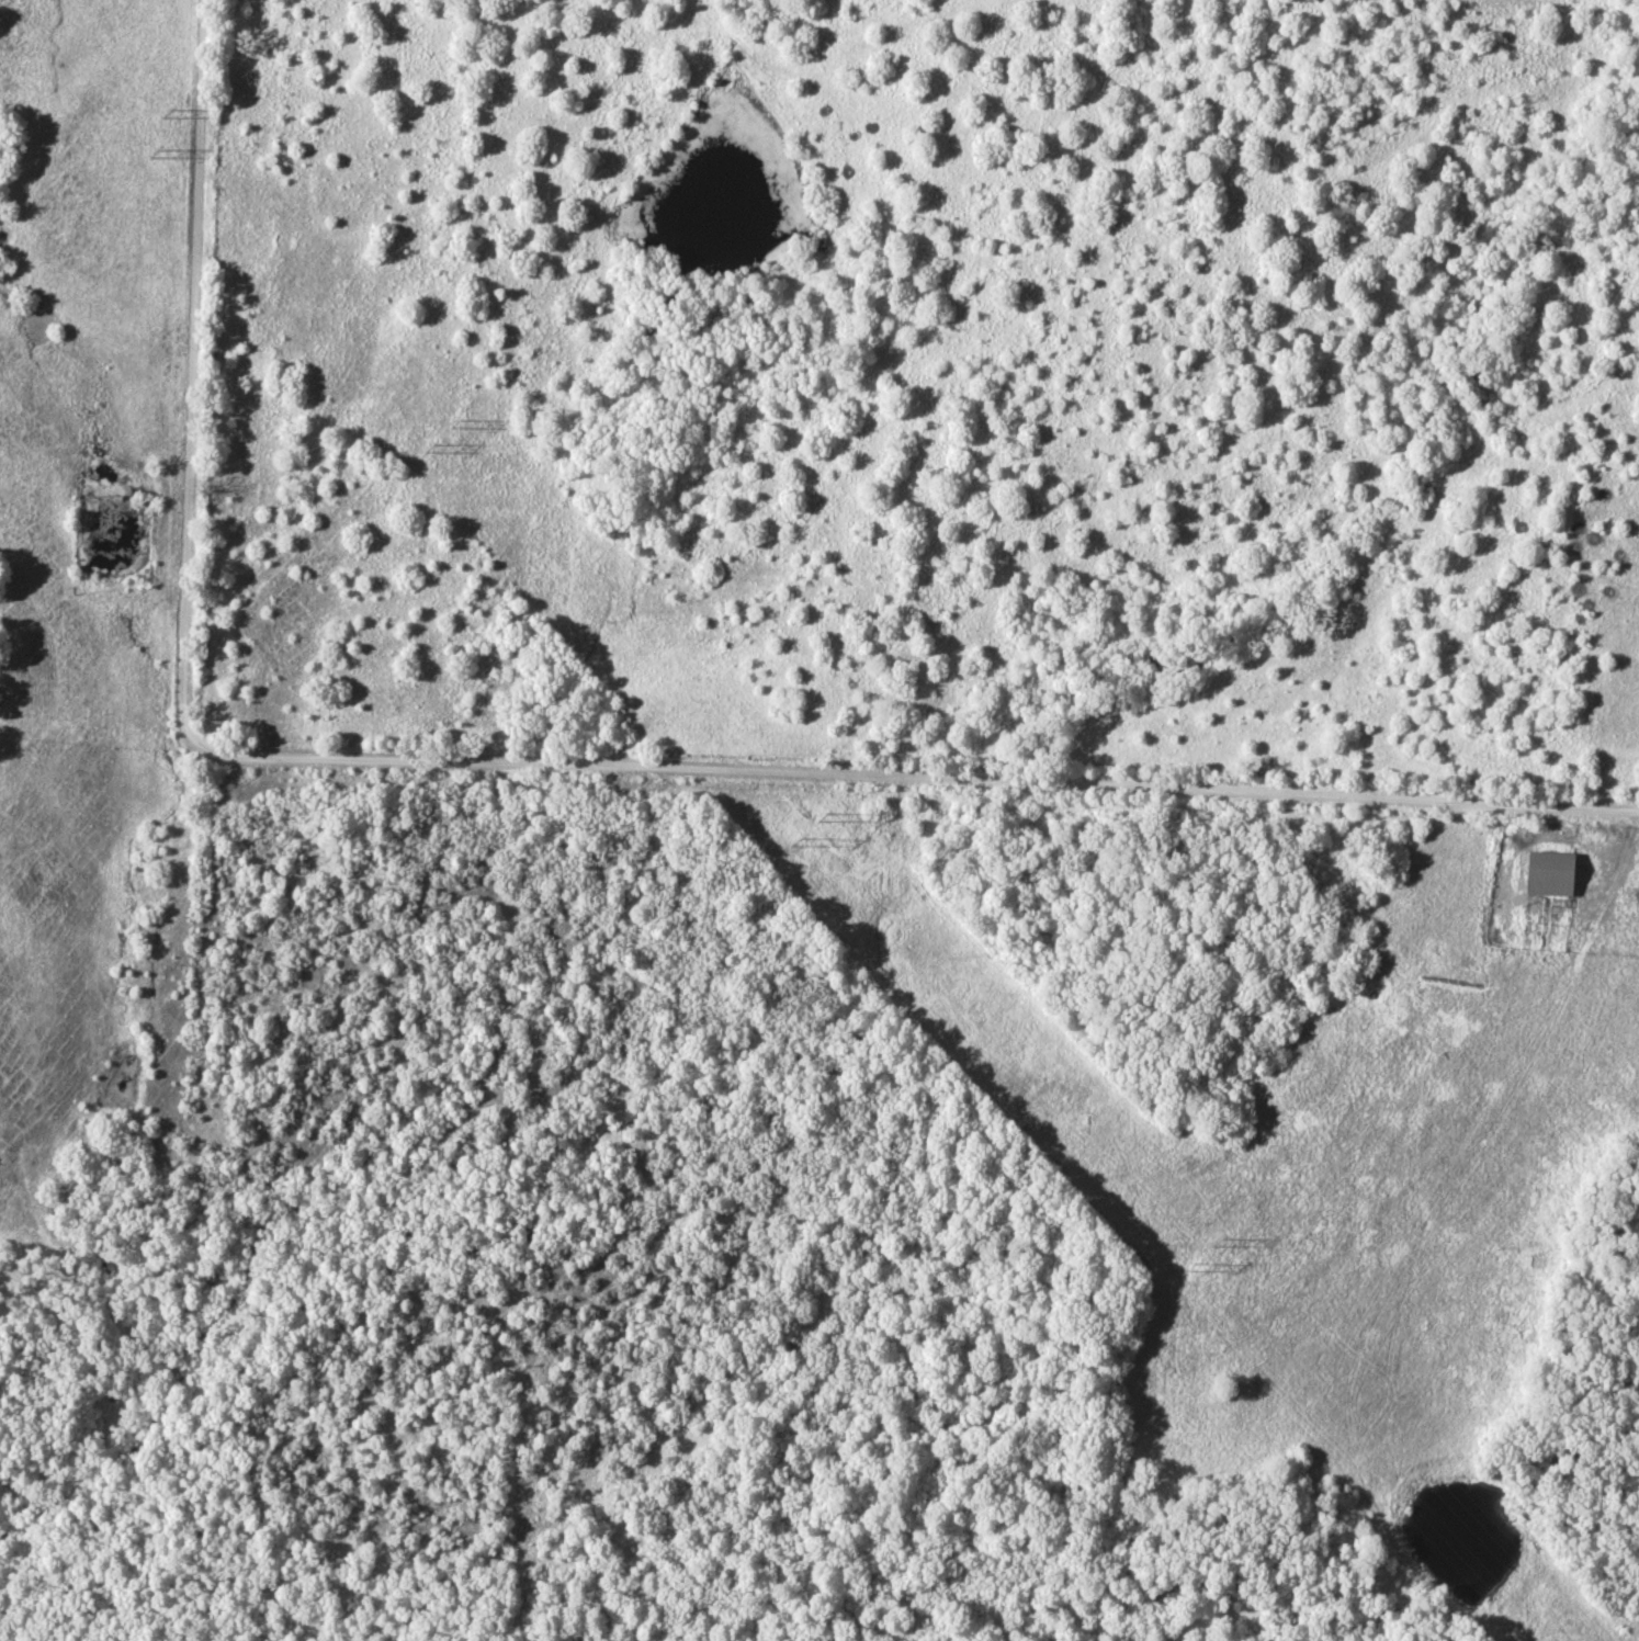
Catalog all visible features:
power tower: (168, 114)
power tower: (157, 154)
road: (189, 373)
power tower: (455, 425)
power tower: (432, 450)
road: (913, 782)
power tower: (821, 818)
power tower: (795, 842)
building: (1555, 874)
power tower: (1214, 1242)
power tower: (1190, 1268)

